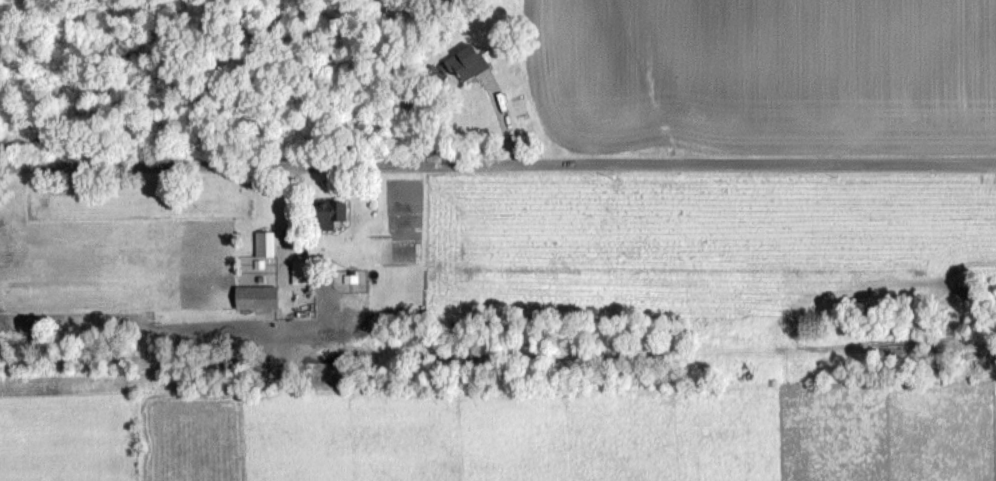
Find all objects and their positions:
building: (469, 63)
crop: (758, 65)
road: (498, 167)
building: (332, 213)
building: (266, 244)
building: (304, 273)
building: (270, 276)
building: (258, 298)

